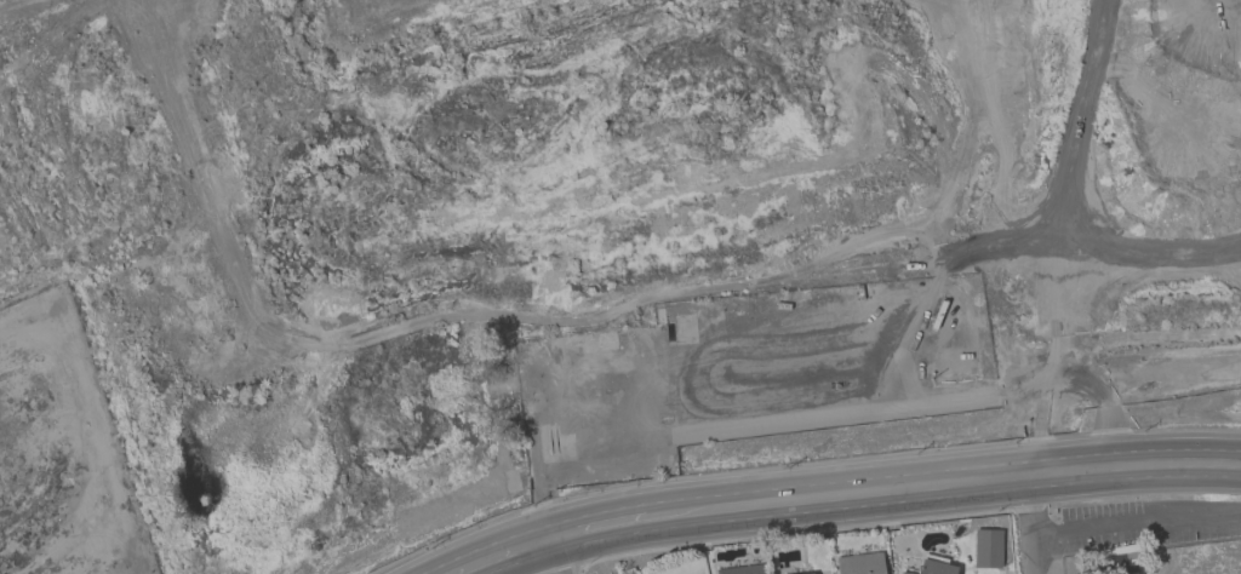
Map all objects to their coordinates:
road: (968, 467)
road: (663, 501)
road: (892, 504)
road: (584, 516)
road: (1029, 517)
road: (1136, 524)
road: (544, 540)
road: (497, 543)
building: (986, 549)
building: (1120, 559)
road: (550, 561)
road: (519, 562)
building: (859, 563)
building: (934, 566)
road: (439, 567)
building: (744, 569)
road: (553, 572)
road: (556, 572)

